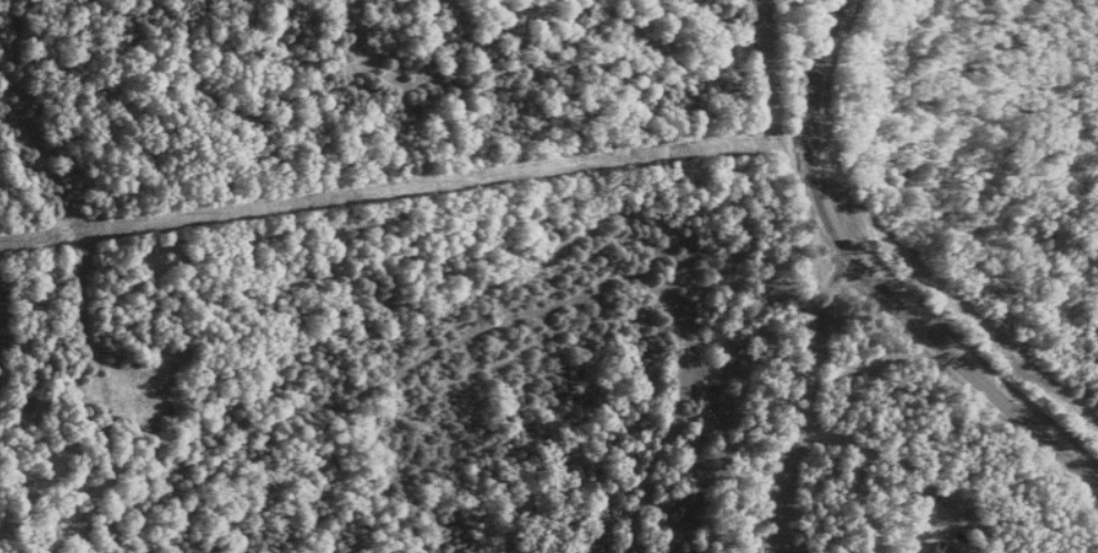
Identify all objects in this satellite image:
road: (872, 280)
road: (810, 399)
road: (889, 463)
building: (932, 550)

